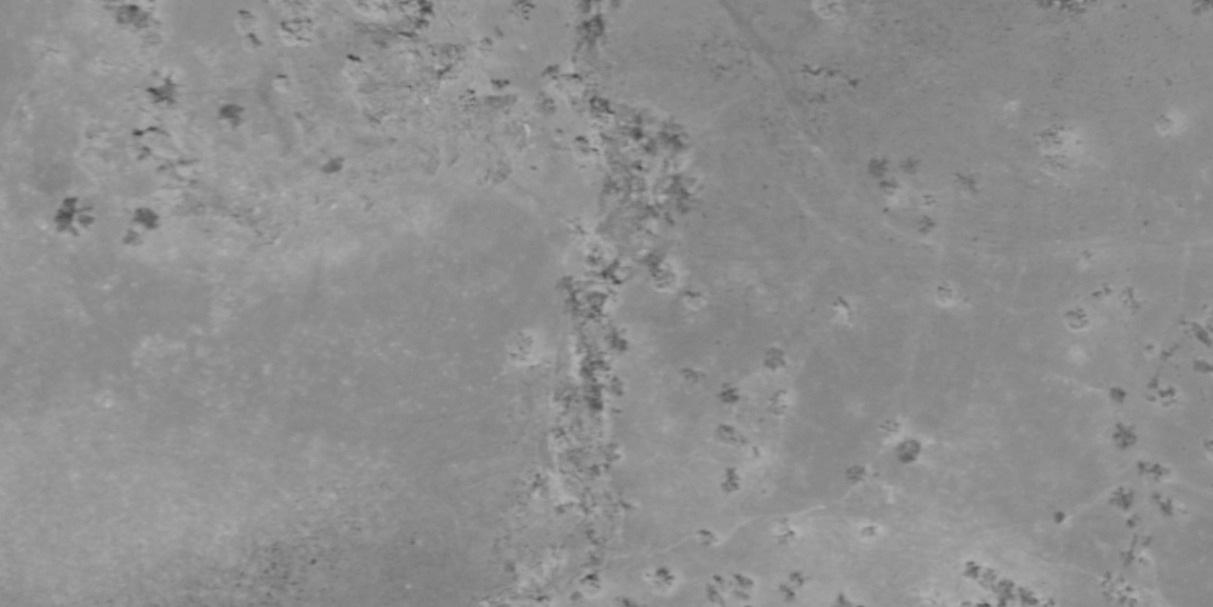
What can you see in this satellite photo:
road: (911, 239)

